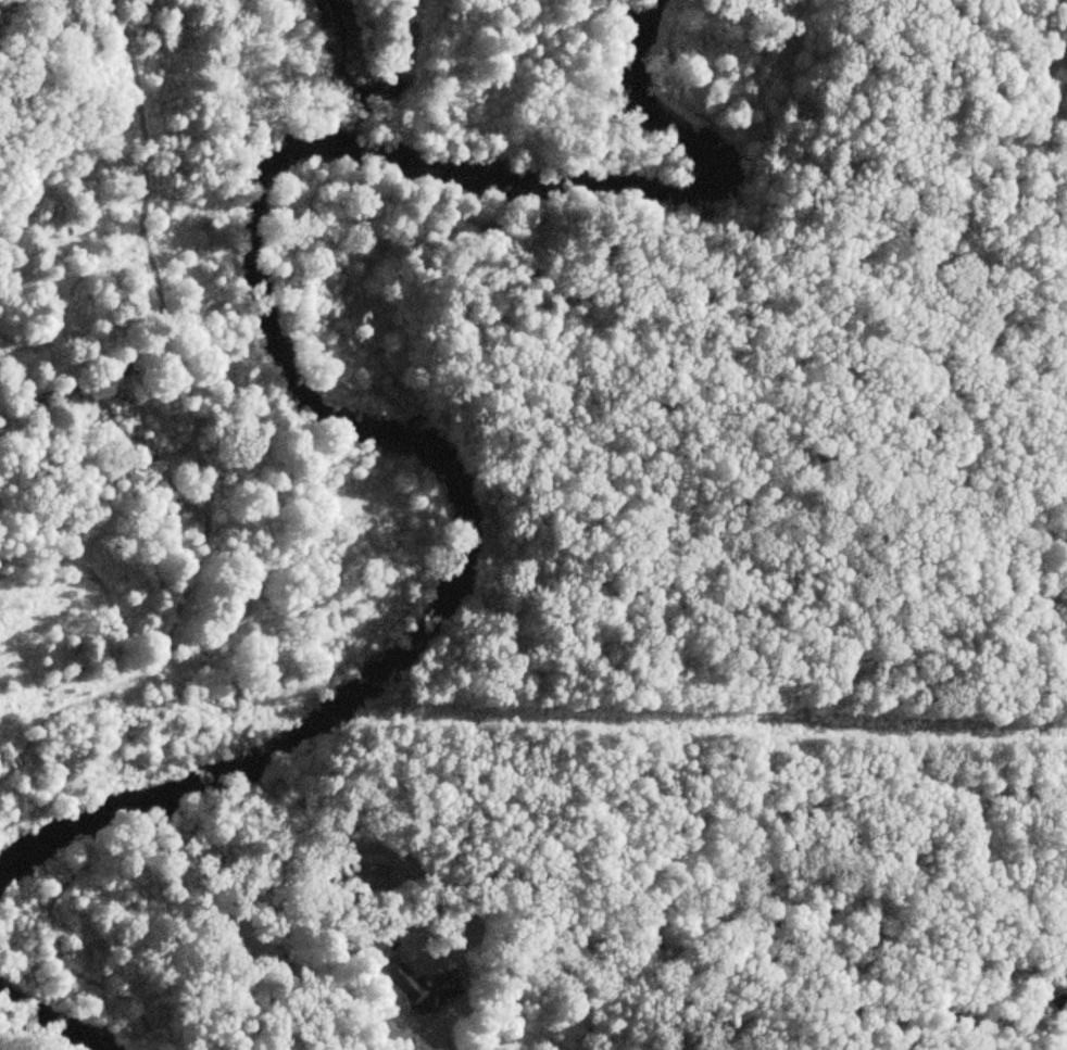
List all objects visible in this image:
river: (284, 363)
road: (720, 811)
building: (417, 987)
river: (42, 1019)

